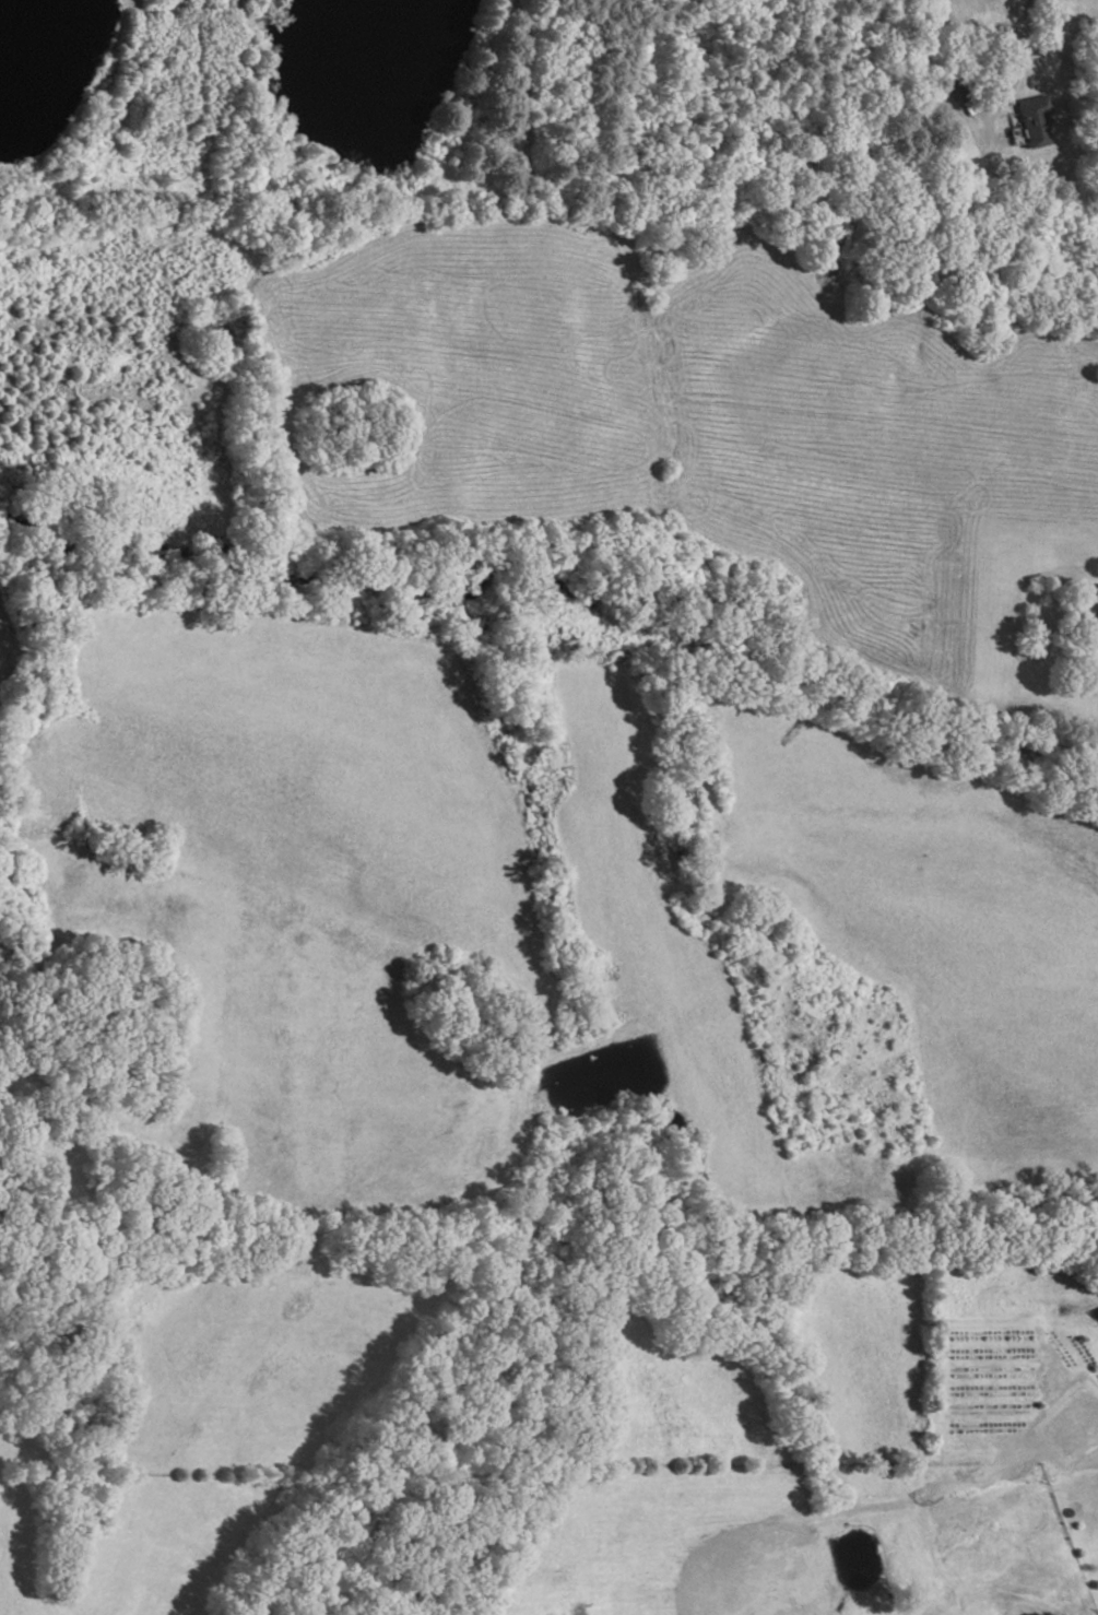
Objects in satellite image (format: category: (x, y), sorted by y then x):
road: (1014, 79)
building: (957, 87)
building: (1030, 122)
building: (1091, 627)

